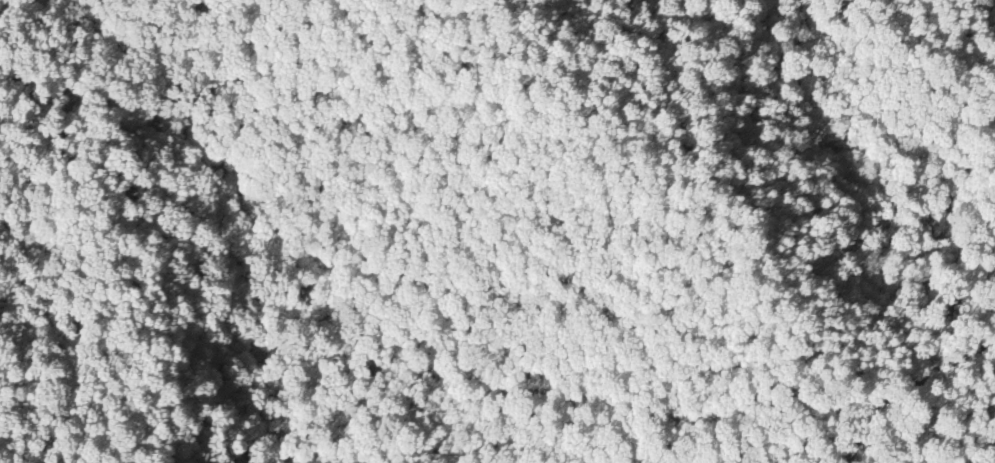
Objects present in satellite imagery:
road: (906, 385)

